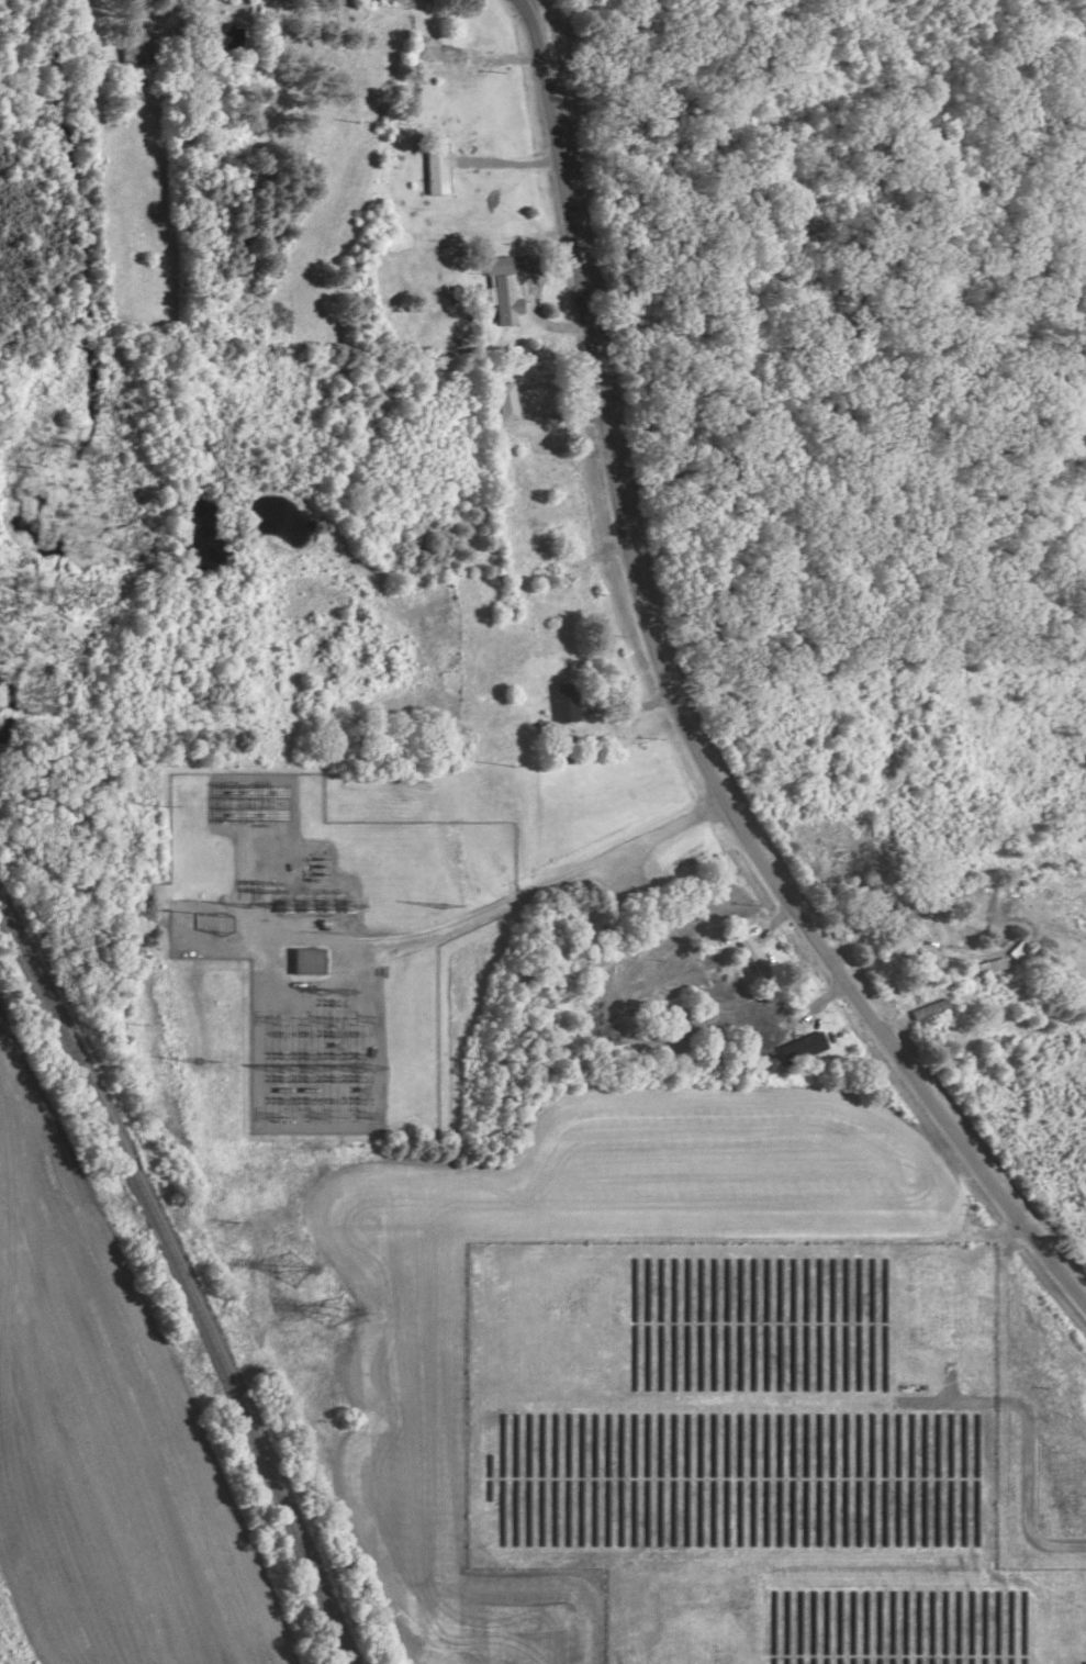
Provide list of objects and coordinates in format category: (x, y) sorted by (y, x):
building: (222, 33)
building: (136, 46)
building: (443, 49)
building: (435, 167)
building: (502, 291)
building: (505, 400)
building: (563, 702)
road: (676, 708)
building: (976, 884)
building: (928, 931)
road: (553, 939)
power substation: (352, 953)
building: (751, 954)
building: (305, 959)
building: (949, 992)
building: (773, 1010)
building: (800, 1045)
power tower: (361, 1113)
railway: (184, 1281)
power tower: (335, 1308)

